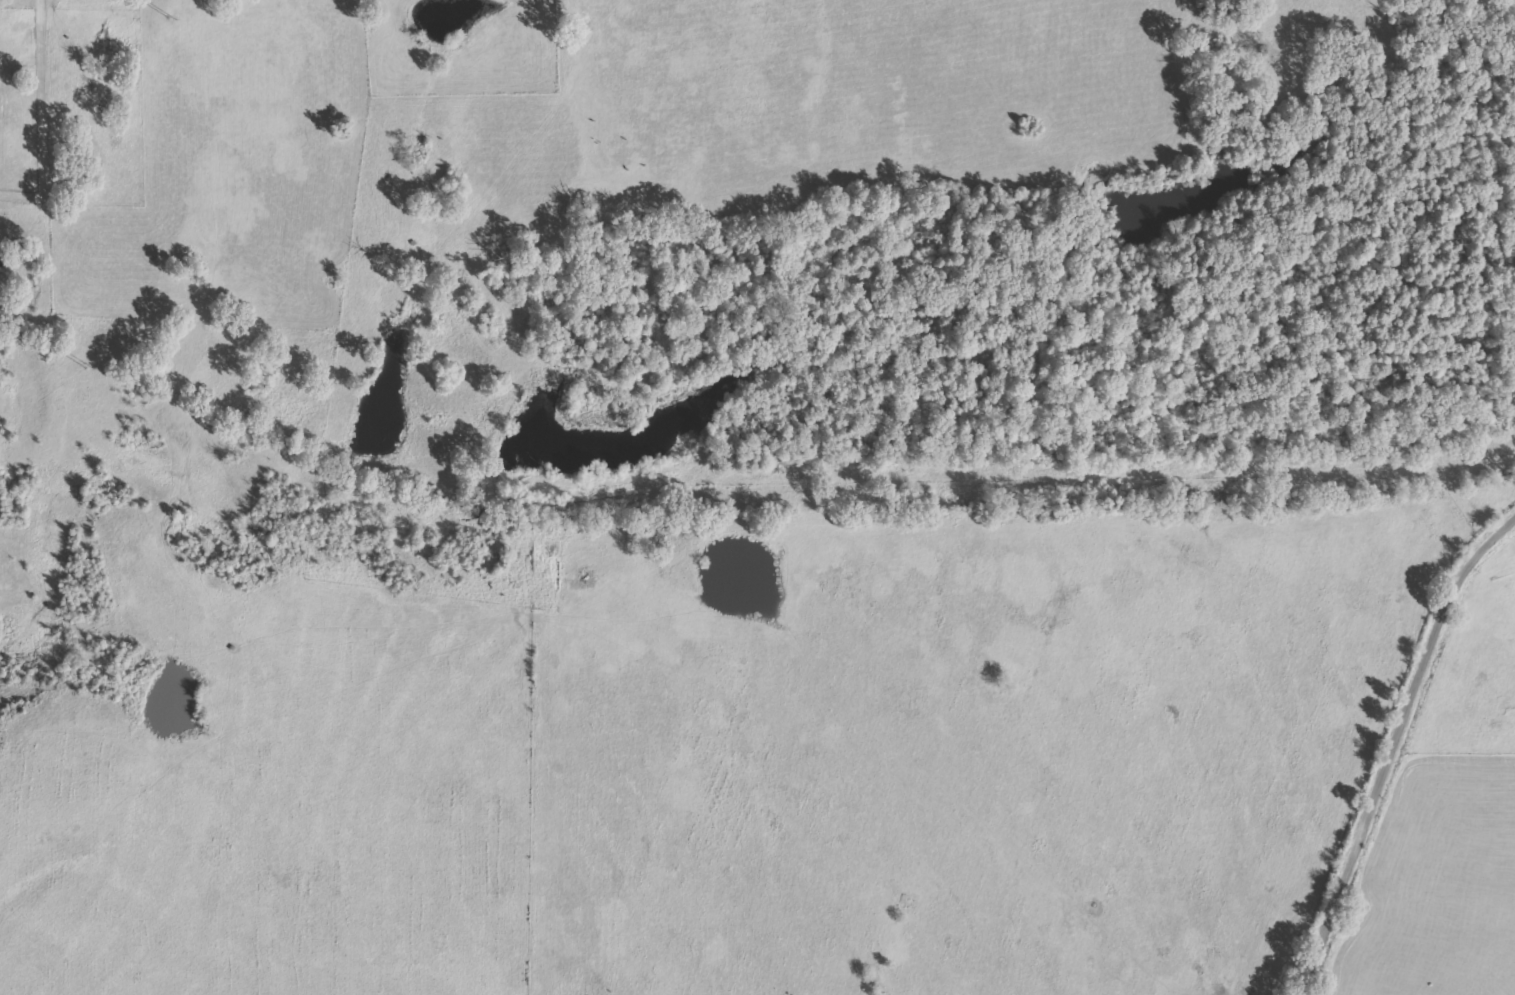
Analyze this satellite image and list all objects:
road: (82, 167)
power tower: (95, 368)
road: (703, 496)
road: (1376, 727)

